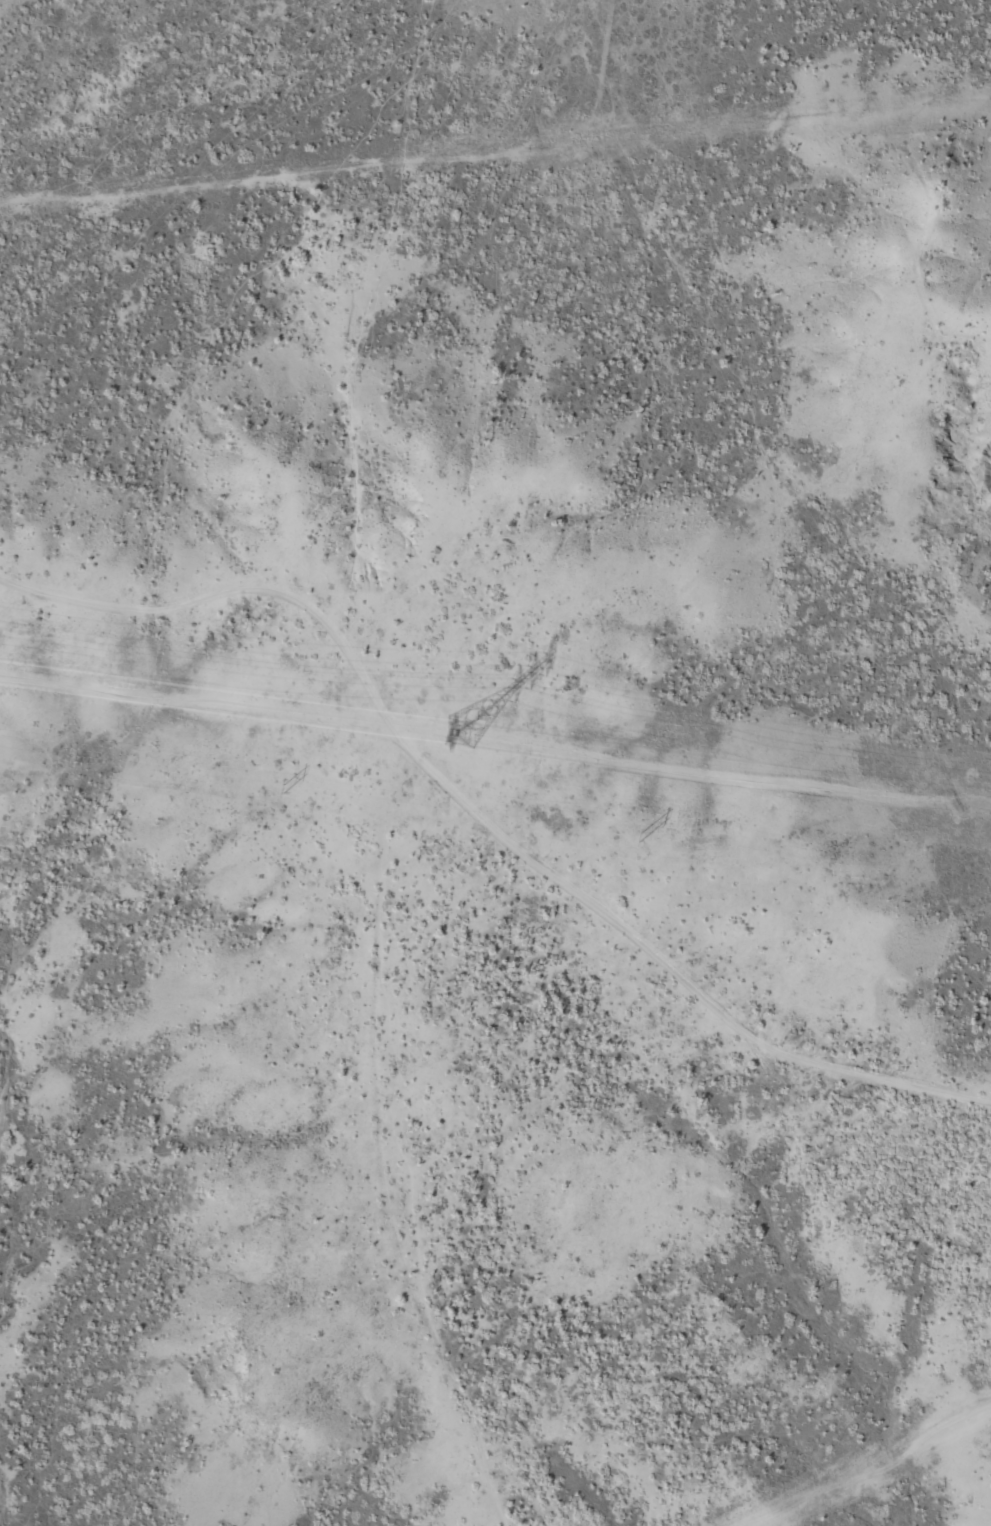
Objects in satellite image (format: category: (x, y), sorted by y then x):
road: (780, 506)
power tower: (458, 726)
power tower: (283, 787)
power tower: (639, 835)
power tower: (990, 883)
road: (350, 921)
road: (640, 940)

